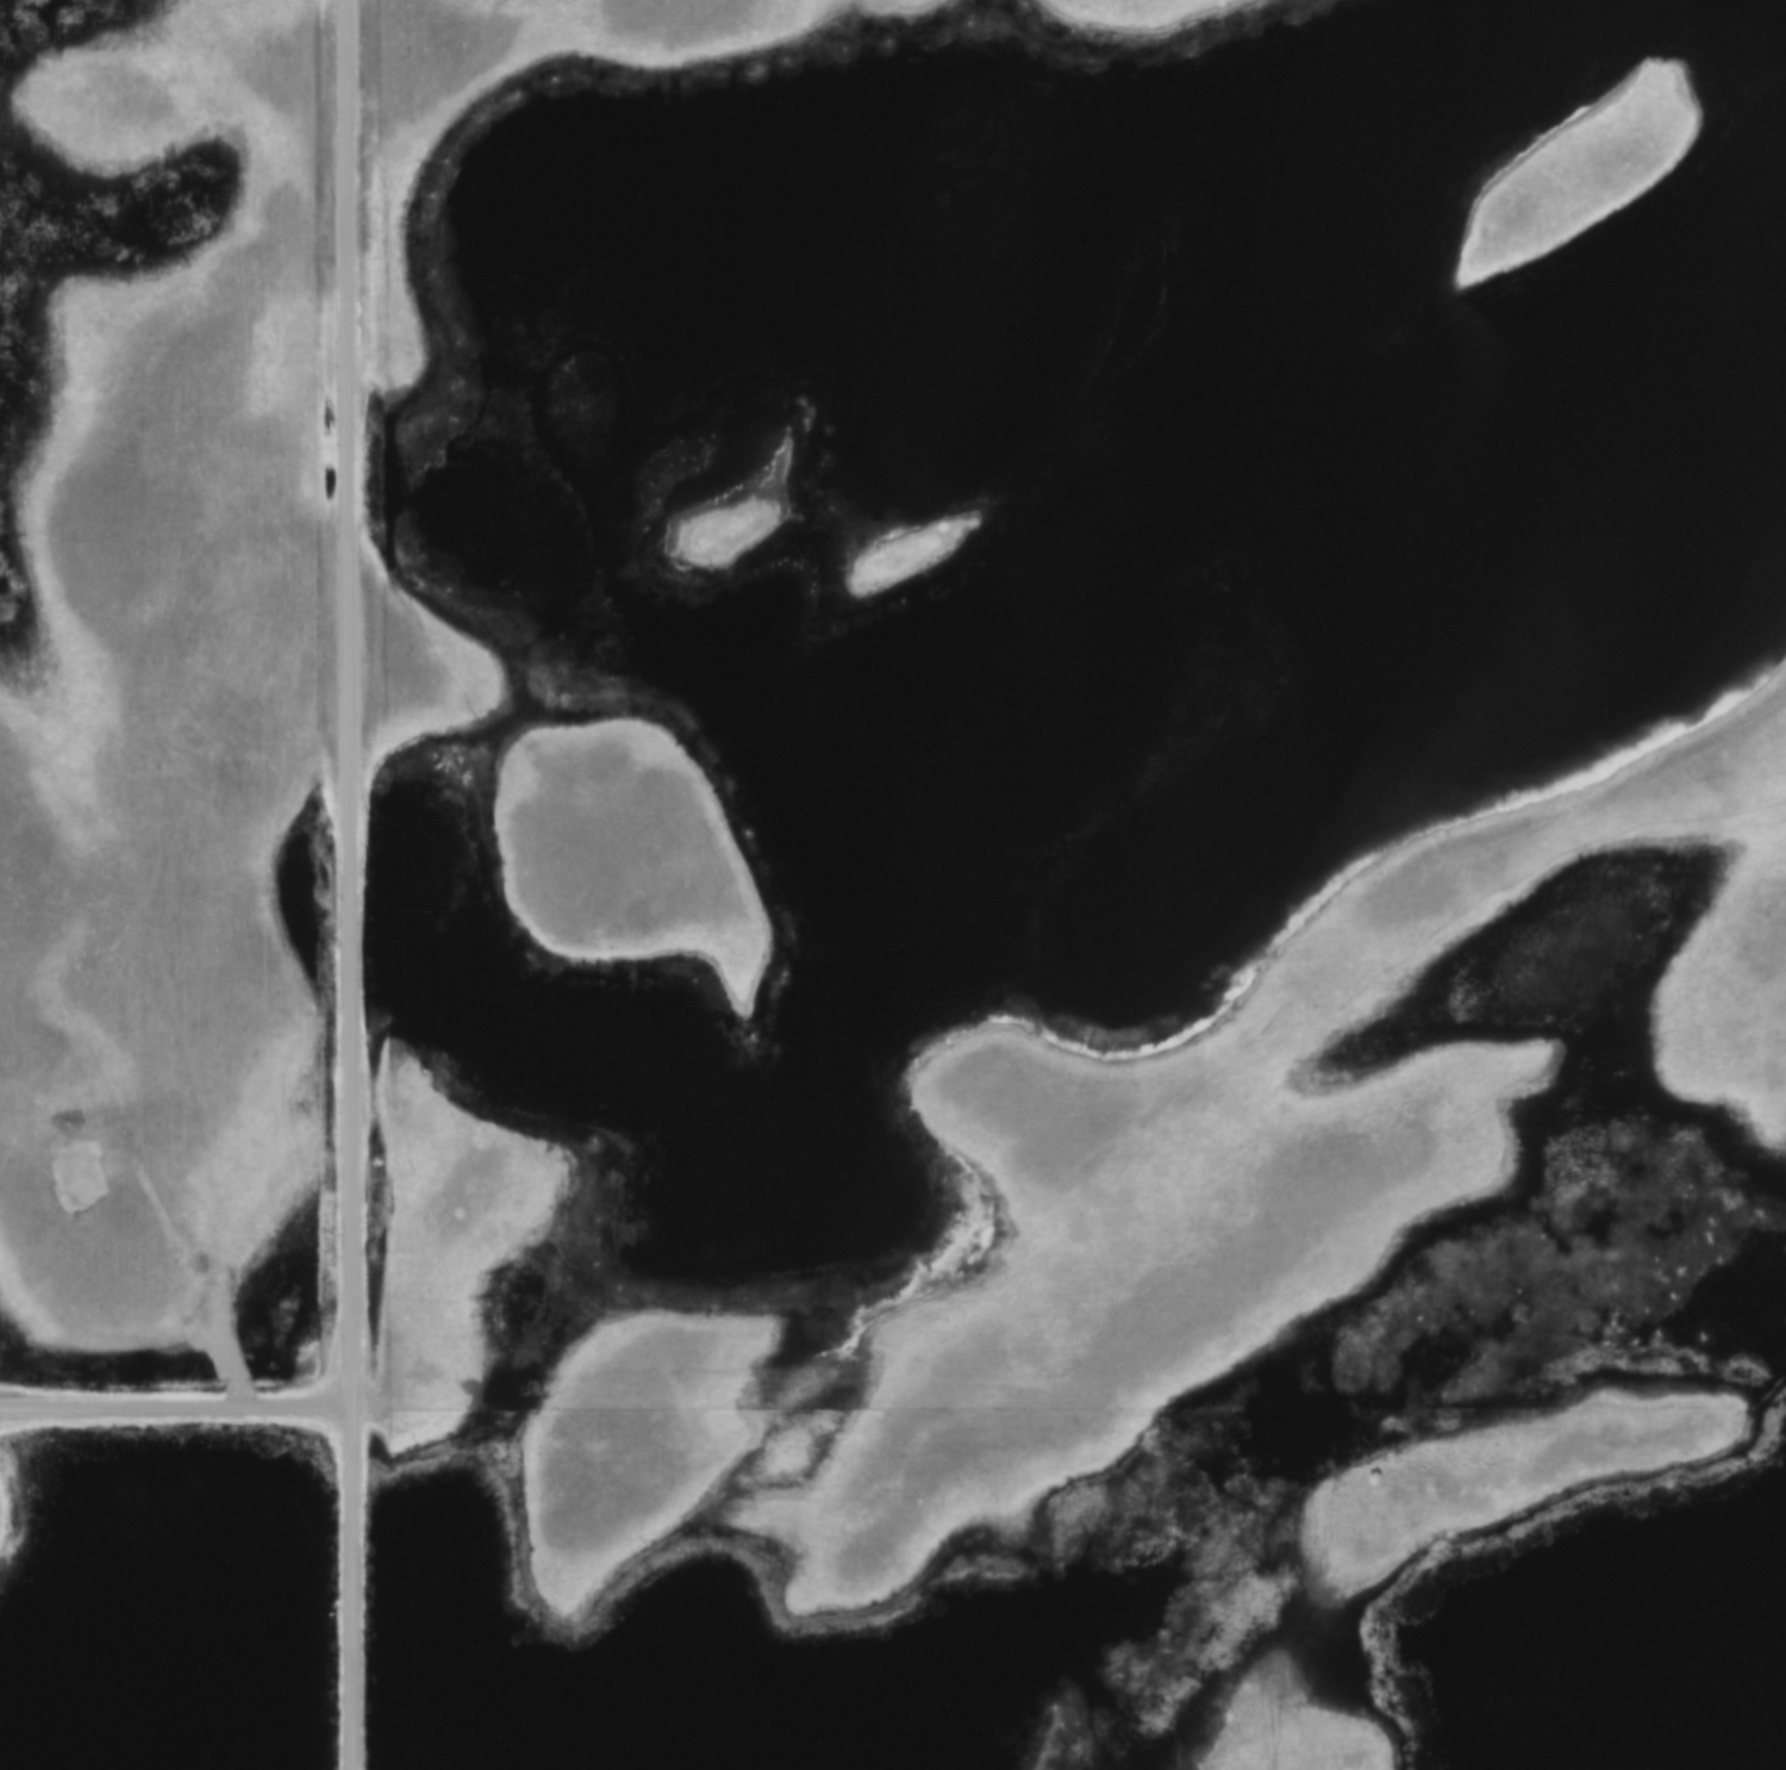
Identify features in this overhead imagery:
road: (348, 884)
road: (175, 1406)

